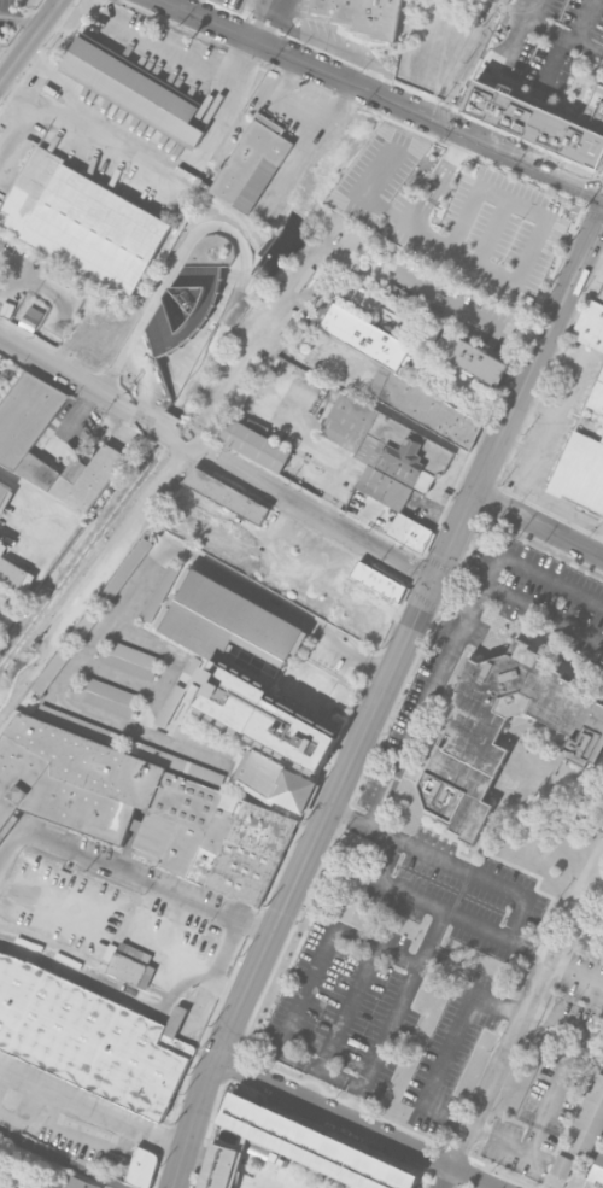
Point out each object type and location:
road: (265, 6)
road: (281, 6)
building: (362, 10)
parking lot: (11, 16)
road: (19, 19)
road: (584, 19)
road: (543, 24)
road: (271, 28)
road: (329, 37)
road: (29, 41)
road: (520, 42)
road: (589, 45)
road: (550, 63)
road: (203, 64)
building: (134, 88)
road: (384, 98)
road: (22, 105)
road: (52, 107)
road: (298, 113)
building: (541, 119)
road: (136, 141)
building: (248, 159)
road: (573, 207)
road: (602, 216)
building: (83, 222)
parking lot: (476, 224)
road: (493, 232)
building: (205, 275)
road: (510, 277)
building: (601, 293)
building: (181, 306)
road: (457, 306)
building: (30, 317)
building: (591, 324)
building: (363, 336)
building: (472, 358)
building: (377, 380)
road: (566, 381)
building: (597, 394)
building: (431, 410)
road: (550, 411)
building: (27, 415)
building: (253, 443)
road: (217, 456)
building: (399, 460)
building: (580, 472)
building: (75, 474)
building: (4, 491)
road: (525, 493)
building: (227, 494)
road: (47, 503)
road: (538, 522)
building: (410, 531)
road: (599, 544)
building: (11, 574)
building: (373, 578)
building: (160, 592)
road: (543, 613)
building: (227, 620)
road: (103, 626)
road: (458, 637)
road: (355, 650)
road: (177, 657)
building: (129, 660)
road: (117, 677)
building: (105, 696)
road: (380, 696)
building: (260, 715)
building: (468, 739)
building: (204, 741)
building: (207, 776)
building: (277, 780)
building: (141, 807)
park: (552, 832)
road: (8, 845)
road: (449, 862)
road: (148, 878)
road: (573, 895)
road: (45, 902)
road: (470, 921)
road: (561, 927)
road: (168, 946)
road: (215, 965)
building: (127, 967)
road: (305, 988)
road: (396, 1014)
road: (340, 1023)
building: (86, 1037)
road: (449, 1048)
road: (497, 1069)
road: (556, 1089)
road: (92, 1105)
building: (591, 1119)
road: (356, 1123)
building: (311, 1146)
building: (258, 1151)
building: (112, 1158)
road: (60, 1159)
building: (219, 1166)
building: (562, 1166)
building: (141, 1167)
park: (29, 1169)
building: (597, 1170)
building: (81, 1182)

